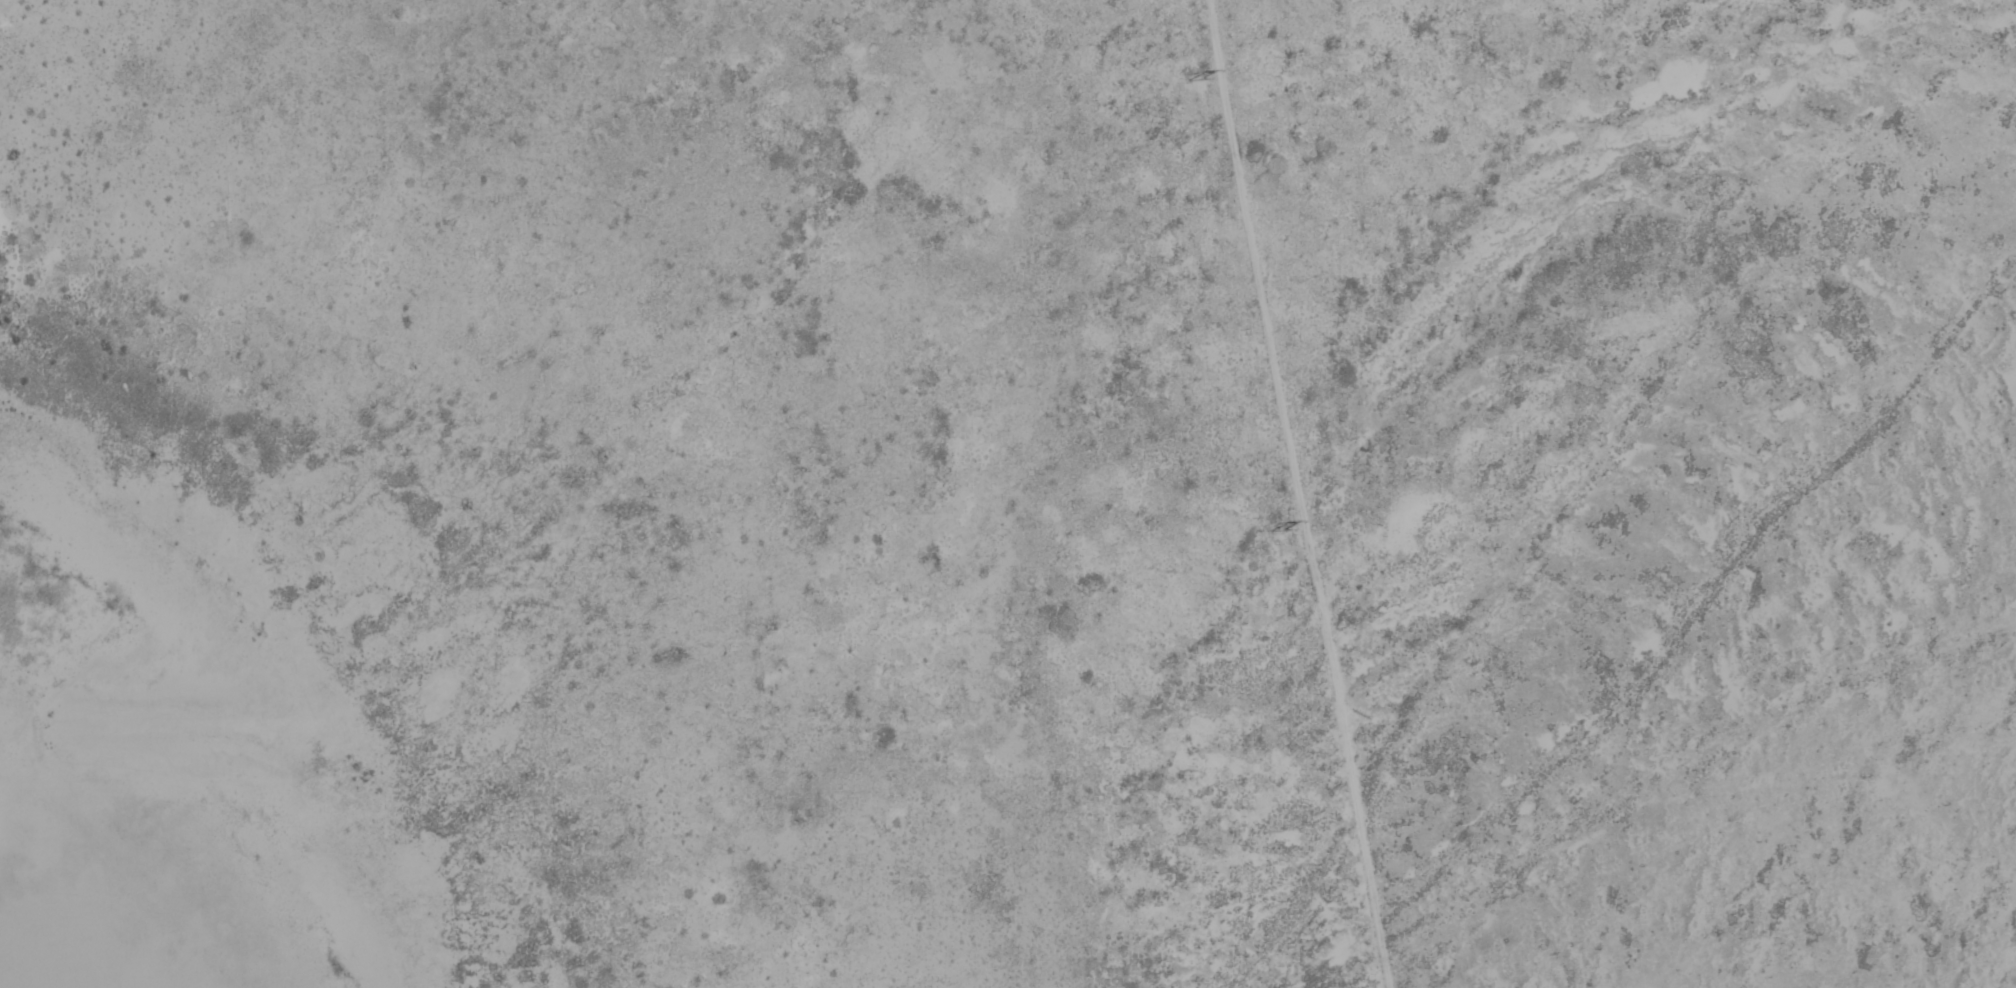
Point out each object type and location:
power tower: (1197, 79)
road: (1367, 494)
power tower: (1279, 530)

